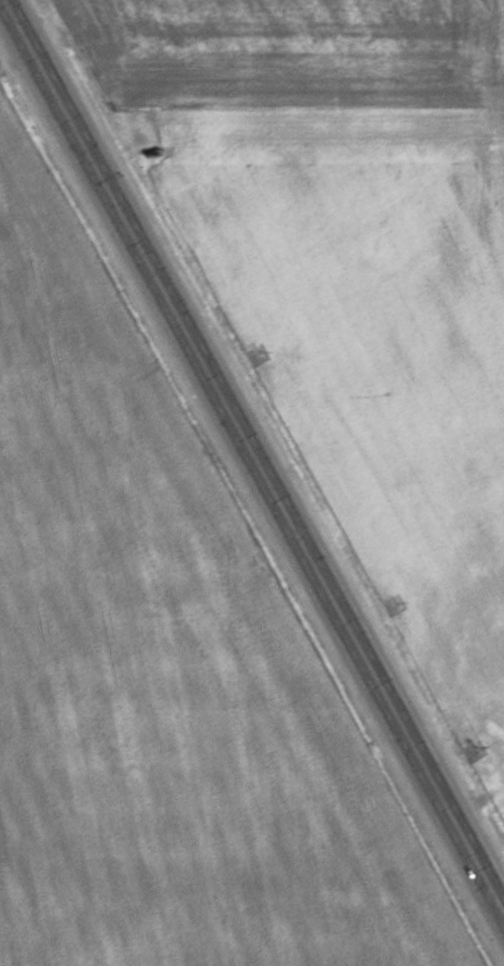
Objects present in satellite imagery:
crop: (354, 273)
road: (252, 457)
crop: (163, 670)

